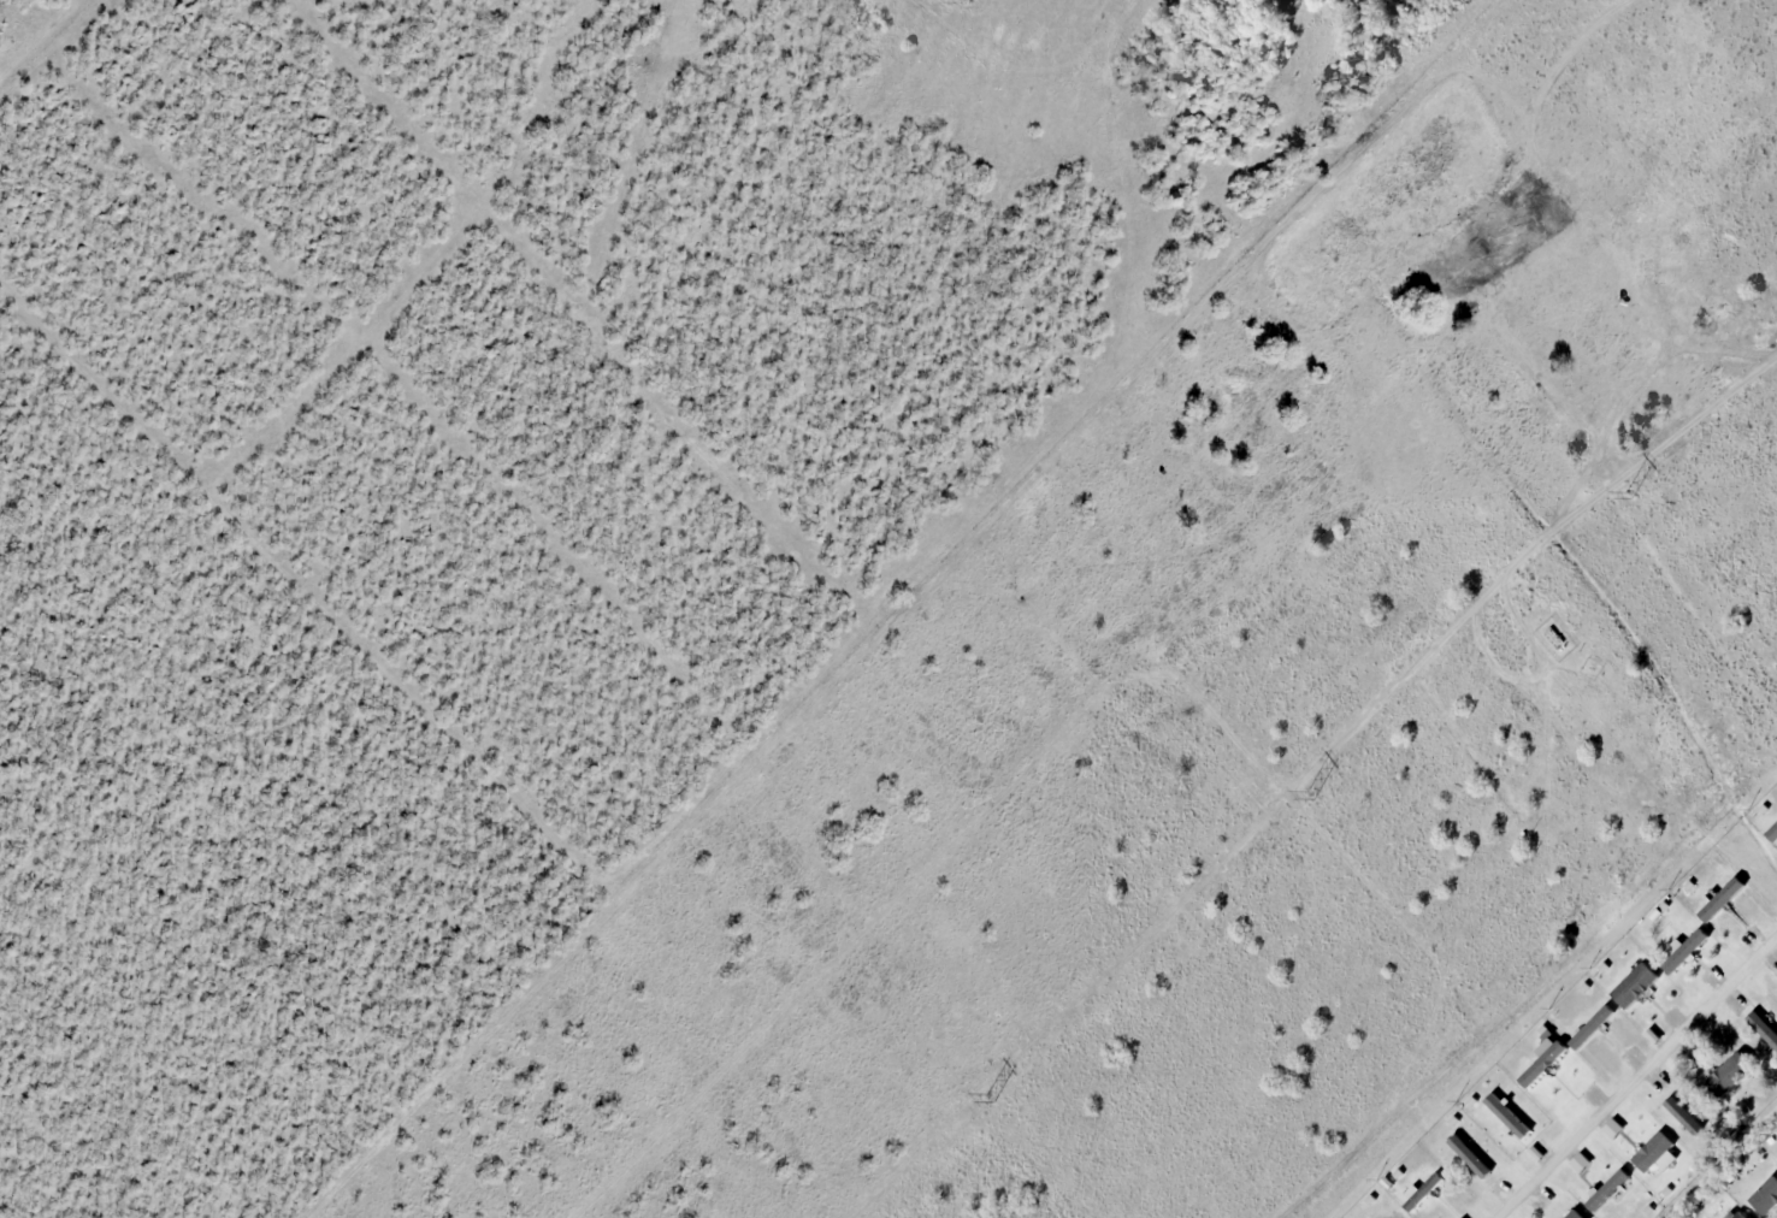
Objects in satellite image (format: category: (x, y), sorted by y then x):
power tower: (1628, 496)
power tower: (1310, 796)
power tower: (990, 1098)
building: (1766, 1198)
building: (1737, 1214)

